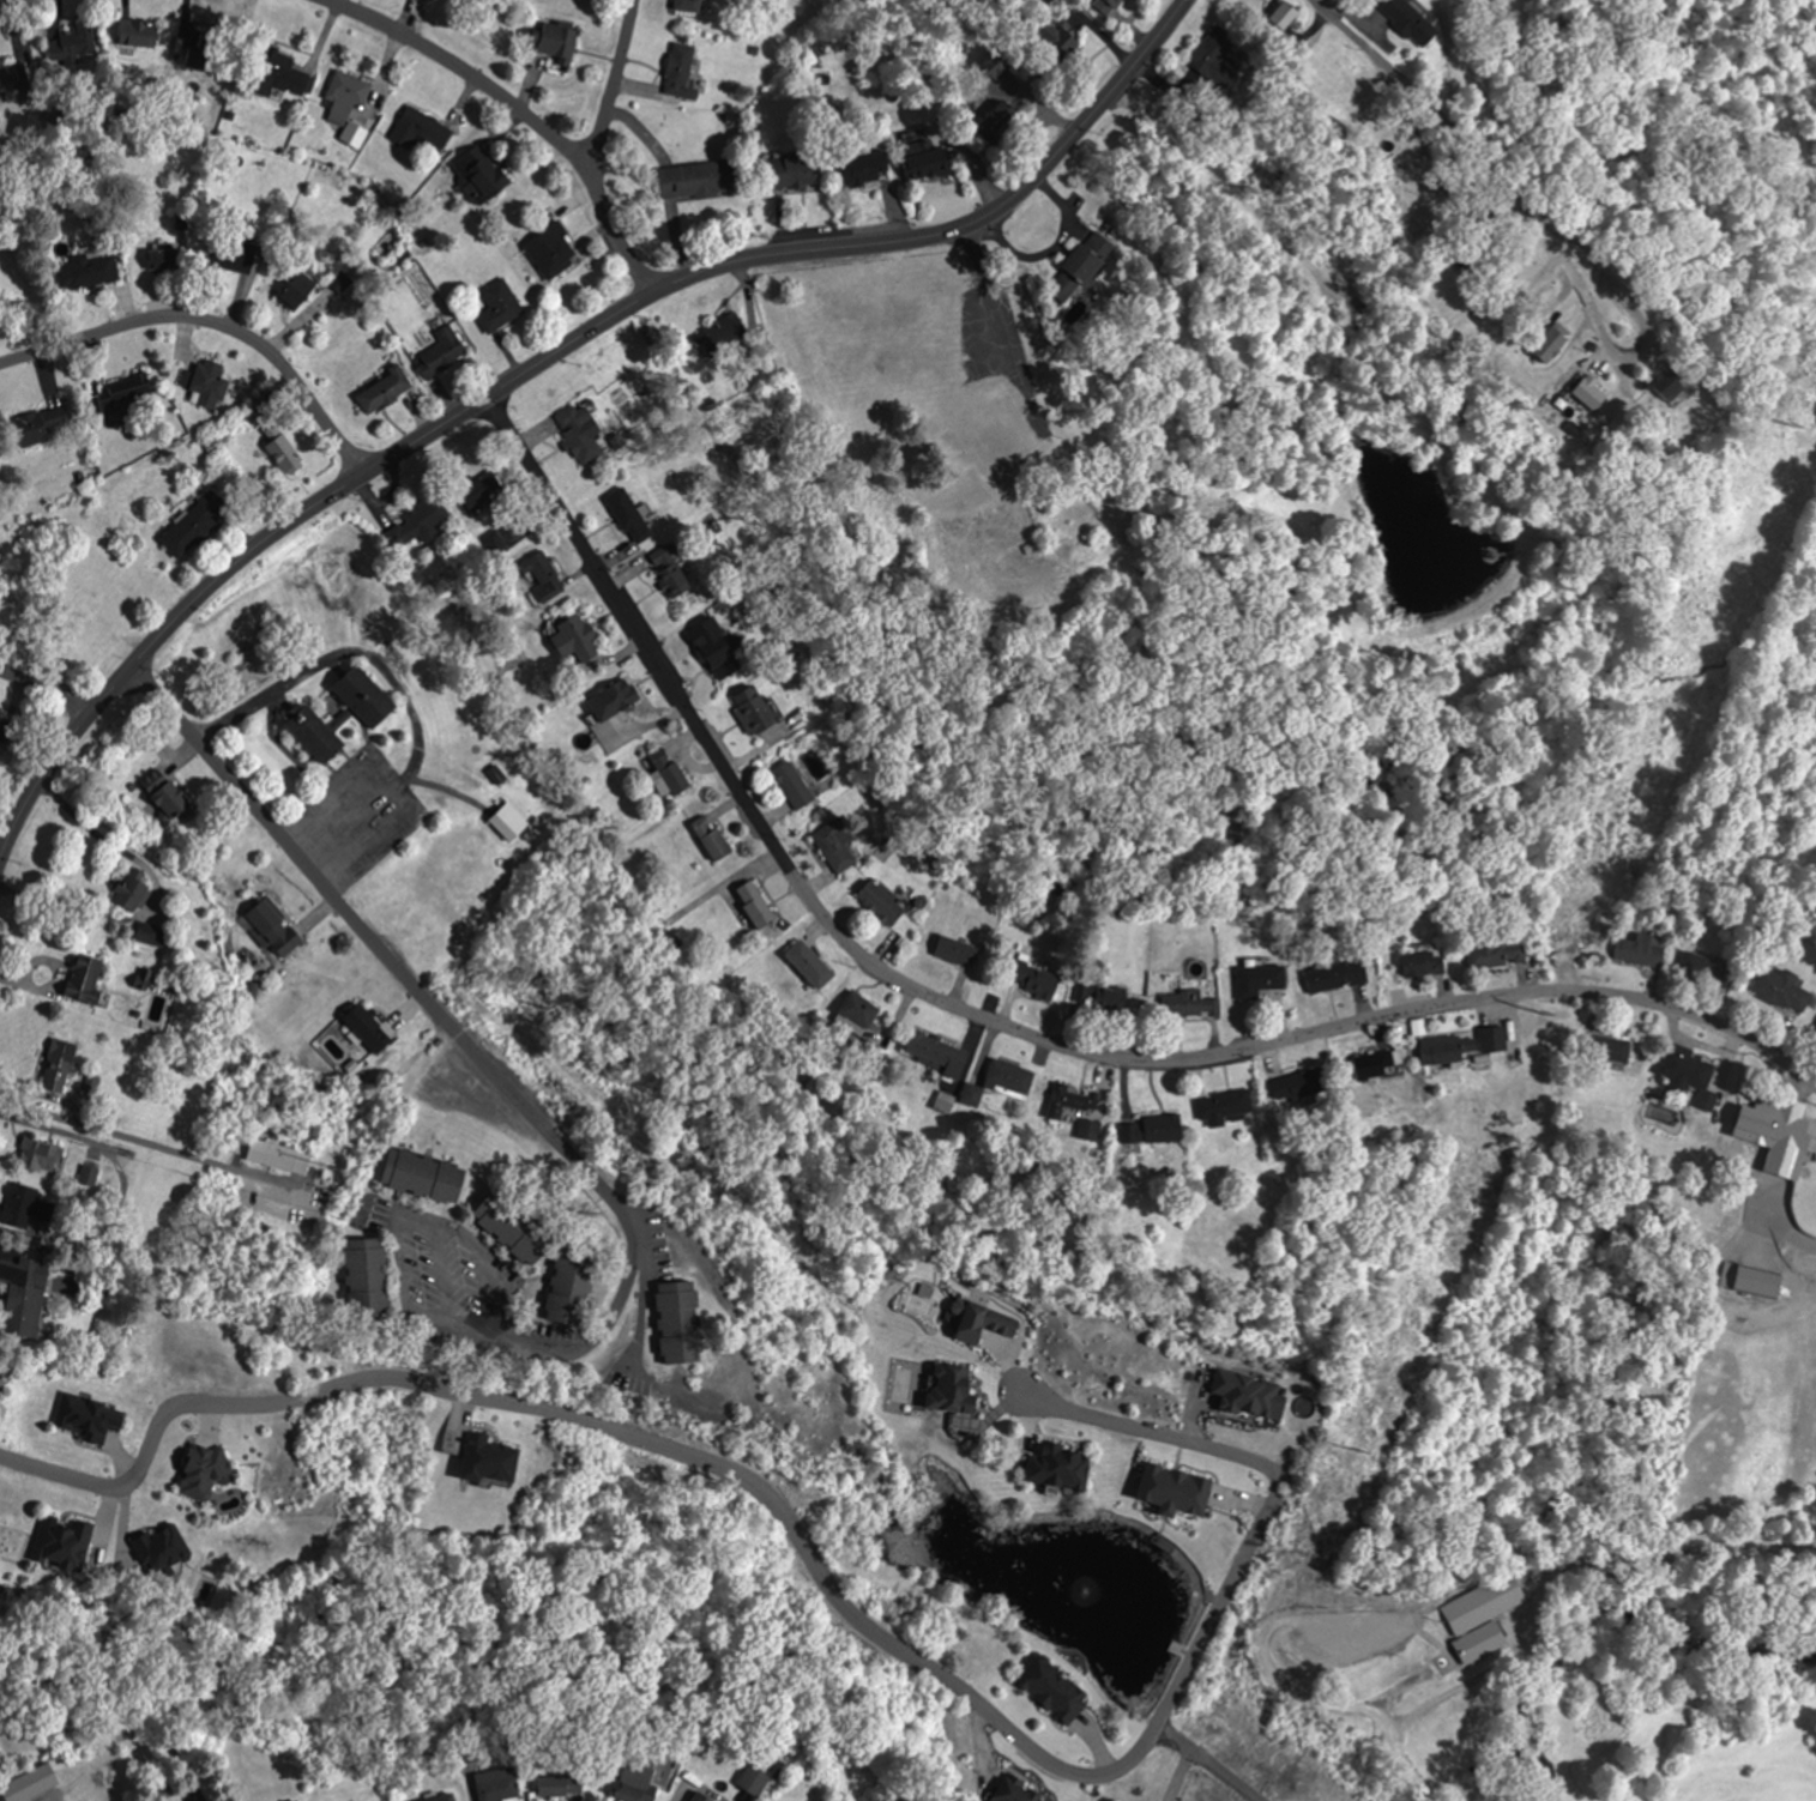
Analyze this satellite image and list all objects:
building: (688, 5)
building: (1106, 5)
building: (1408, 20)
building: (138, 31)
building: (553, 38)
building: (1055, 40)
building: (71, 41)
road: (1368, 47)
building: (680, 71)
building: (282, 75)
building: (987, 79)
building: (12, 80)
road: (610, 84)
building: (342, 96)
road: (520, 113)
building: (420, 132)
road: (1471, 138)
building: (925, 162)
building: (861, 168)
building: (791, 173)
building: (478, 177)
building: (698, 180)
road: (1542, 225)
road: (1573, 241)
building: (550, 249)
building: (228, 258)
building: (158, 259)
building: (1079, 266)
building: (88, 273)
building: (295, 290)
building: (495, 304)
road: (212, 320)
building: (724, 331)
road: (1610, 344)
building: (440, 352)
road: (549, 356)
building: (1591, 379)
building: (204, 383)
building: (1673, 385)
building: (381, 389)
building: (119, 392)
building: (40, 425)
building: (578, 439)
building: (282, 451)
building: (475, 494)
building: (629, 514)
building: (192, 524)
building: (415, 525)
building: (494, 542)
road: (595, 564)
building: (668, 572)
building: (541, 573)
building: (575, 639)
building: (719, 655)
road: (47, 690)
building: (617, 696)
building: (363, 697)
building: (753, 711)
building: (313, 731)
building: (664, 770)
building: (794, 785)
building: (507, 821)
road: (270, 827)
building: (710, 836)
building: (835, 844)
building: (1057, 887)
building: (128, 893)
building: (879, 902)
building: (755, 903)
building: (273, 926)
building: (149, 935)
building: (954, 950)
building: (1640, 950)
building: (1496, 953)
building: (1417, 963)
building: (809, 965)
building: (1335, 975)
building: (1037, 977)
building: (82, 978)
building: (1257, 979)
building: (1780, 990)
building: (1100, 997)
building: (1188, 1003)
building: (858, 1009)
building: (1815, 1025)
building: (367, 1028)
building: (1494, 1038)
building: (1442, 1050)
building: (935, 1052)
road: (1203, 1054)
building: (1375, 1060)
building: (1009, 1075)
building: (1690, 1075)
building: (58, 1078)
building: (88, 1081)
building: (1301, 1084)
building: (1075, 1100)
building: (1223, 1106)
building: (1763, 1123)
building: (1160, 1128)
building: (36, 1155)
building: (277, 1158)
road: (586, 1173)
building: (86, 1174)
building: (422, 1174)
building: (24, 1208)
building: (507, 1233)
road: (397, 1257)
building: (366, 1273)
building: (1750, 1281)
building: (566, 1292)
building: (24, 1295)
building: (676, 1318)
building: (979, 1322)
building: (951, 1389)
building: (1248, 1395)
building: (89, 1418)
building: (481, 1457)
building: (1060, 1468)
building: (203, 1473)
building: (62, 1542)
road: (831, 1590)
building: (1480, 1616)
building: (1051, 1690)
building: (753, 1781)
building: (634, 1783)
building: (29, 1785)
building: (495, 1785)
building: (559, 1787)
building: (1014, 1789)
building: (296, 1800)
building: (430, 1800)

